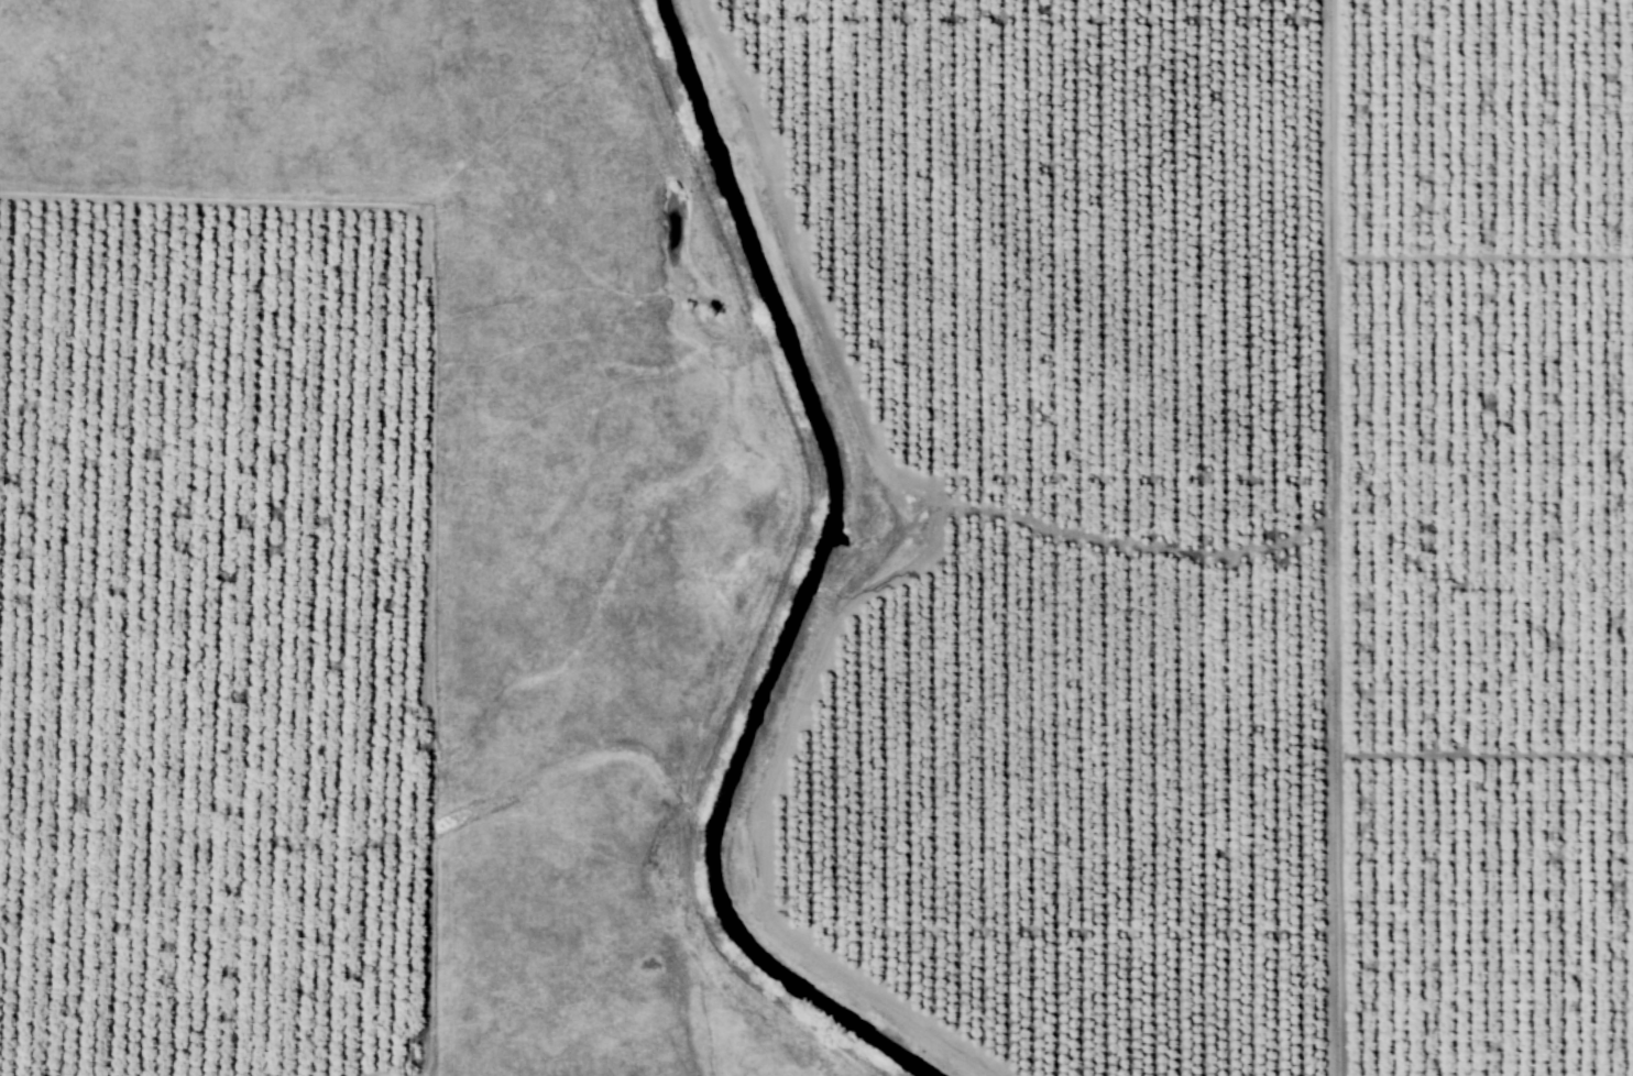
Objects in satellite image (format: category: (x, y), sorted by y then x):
crop: (1226, 526)
road: (376, 1075)

